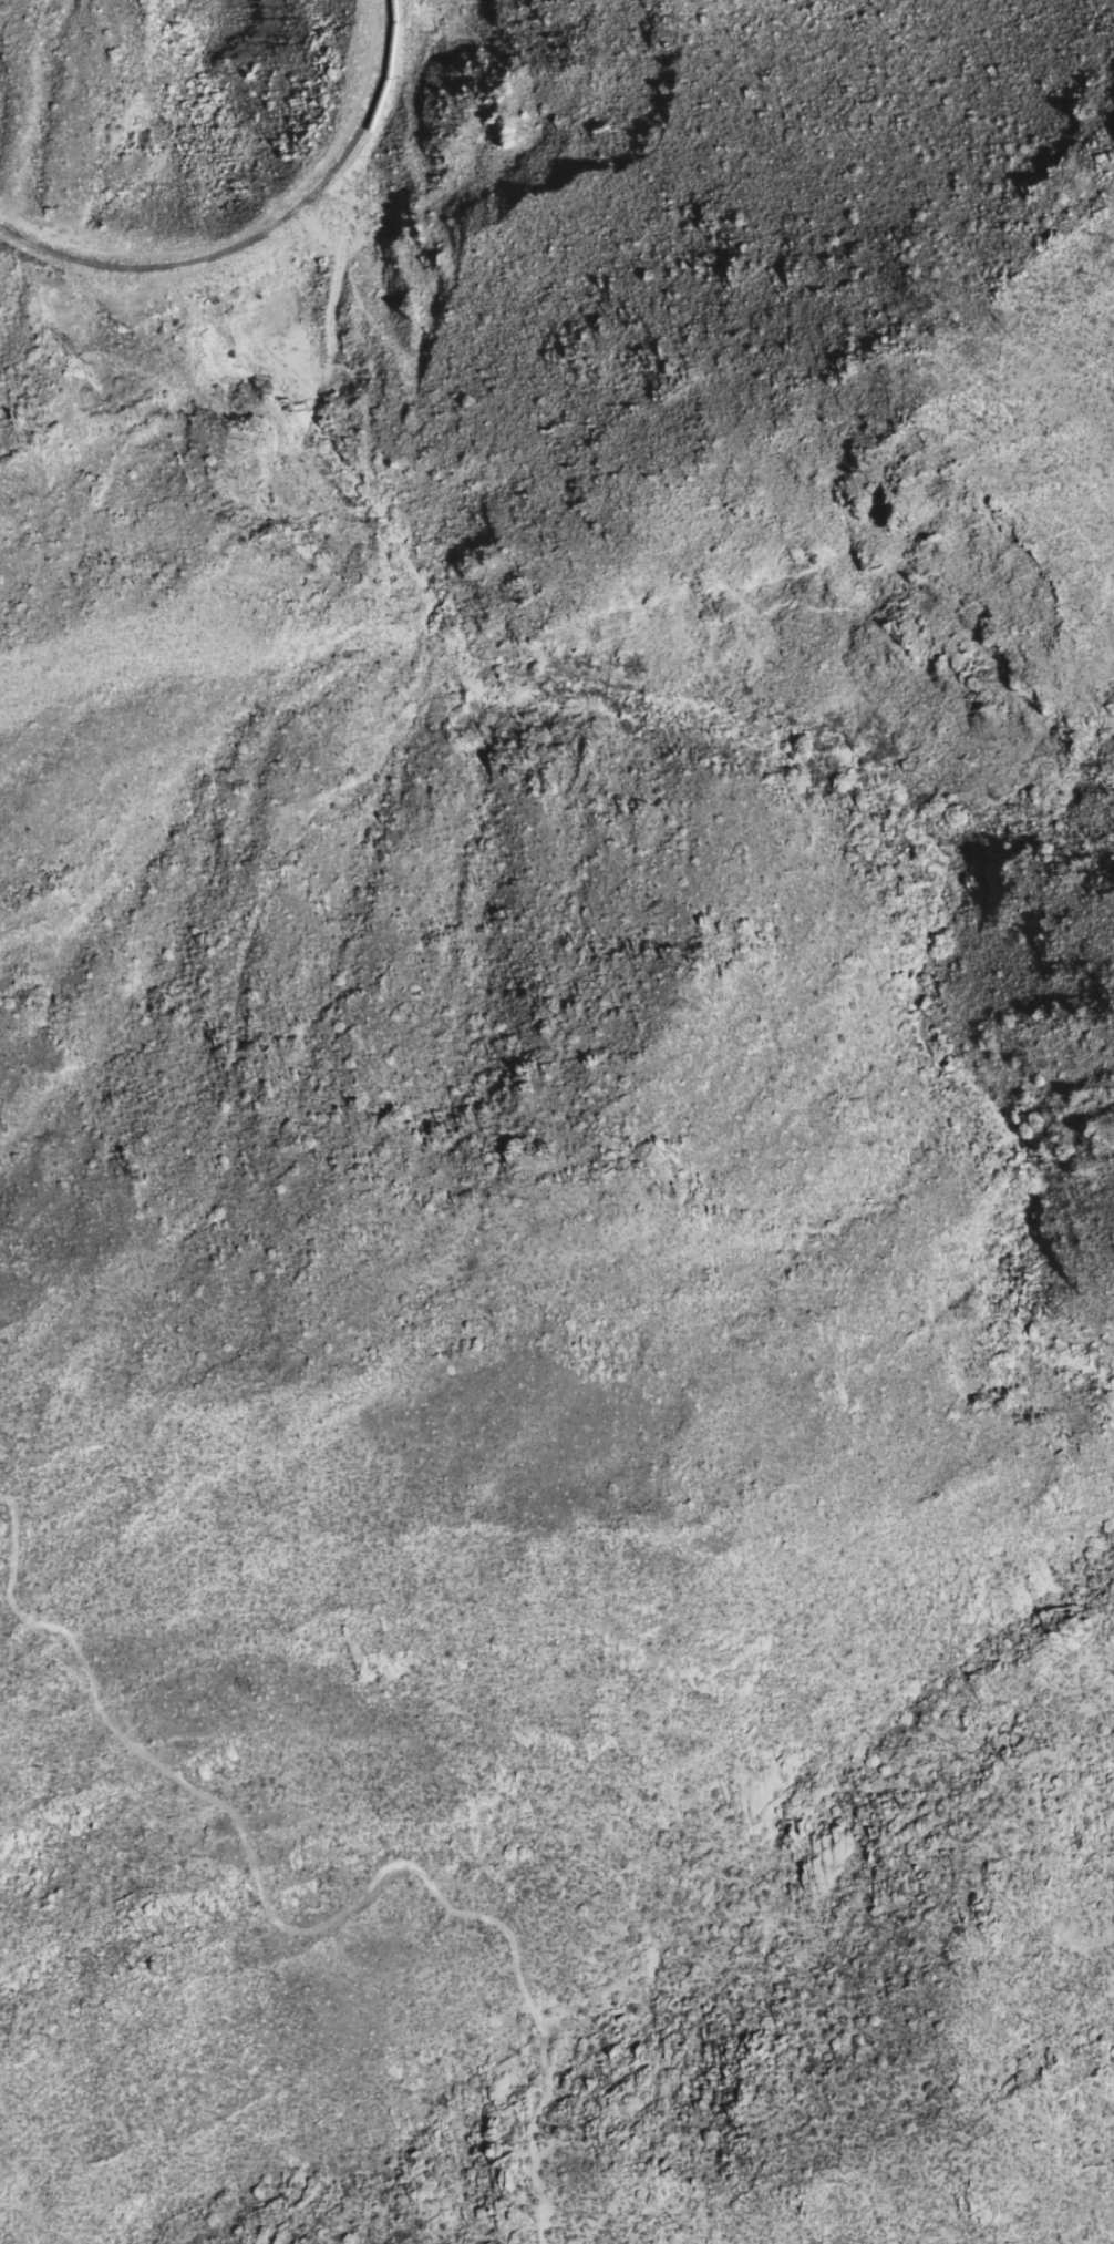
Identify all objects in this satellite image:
railway: (377, 116)
road: (256, 229)
railway: (262, 234)
road: (302, 1930)

